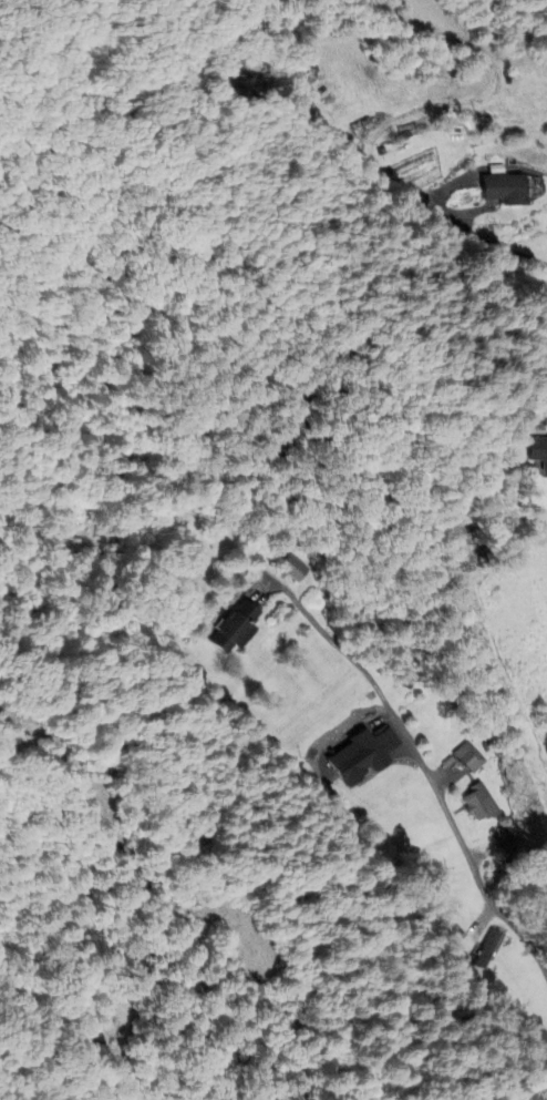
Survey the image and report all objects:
building: (504, 190)
road: (468, 226)
building: (537, 452)
building: (292, 569)
building: (235, 629)
building: (361, 756)
building: (469, 757)
building: (479, 804)
road: (442, 806)
building: (487, 949)

